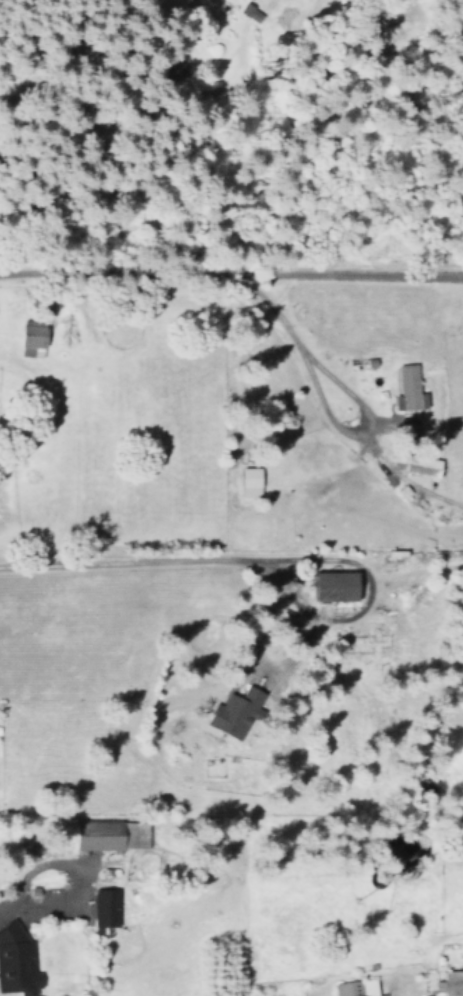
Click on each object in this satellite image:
building: (248, 12)
road: (109, 62)
road: (223, 275)
building: (28, 341)
building: (408, 388)
building: (417, 466)
building: (246, 482)
road: (124, 562)
building: (103, 835)
building: (108, 907)
building: (17, 962)
building: (450, 984)
building: (357, 988)

